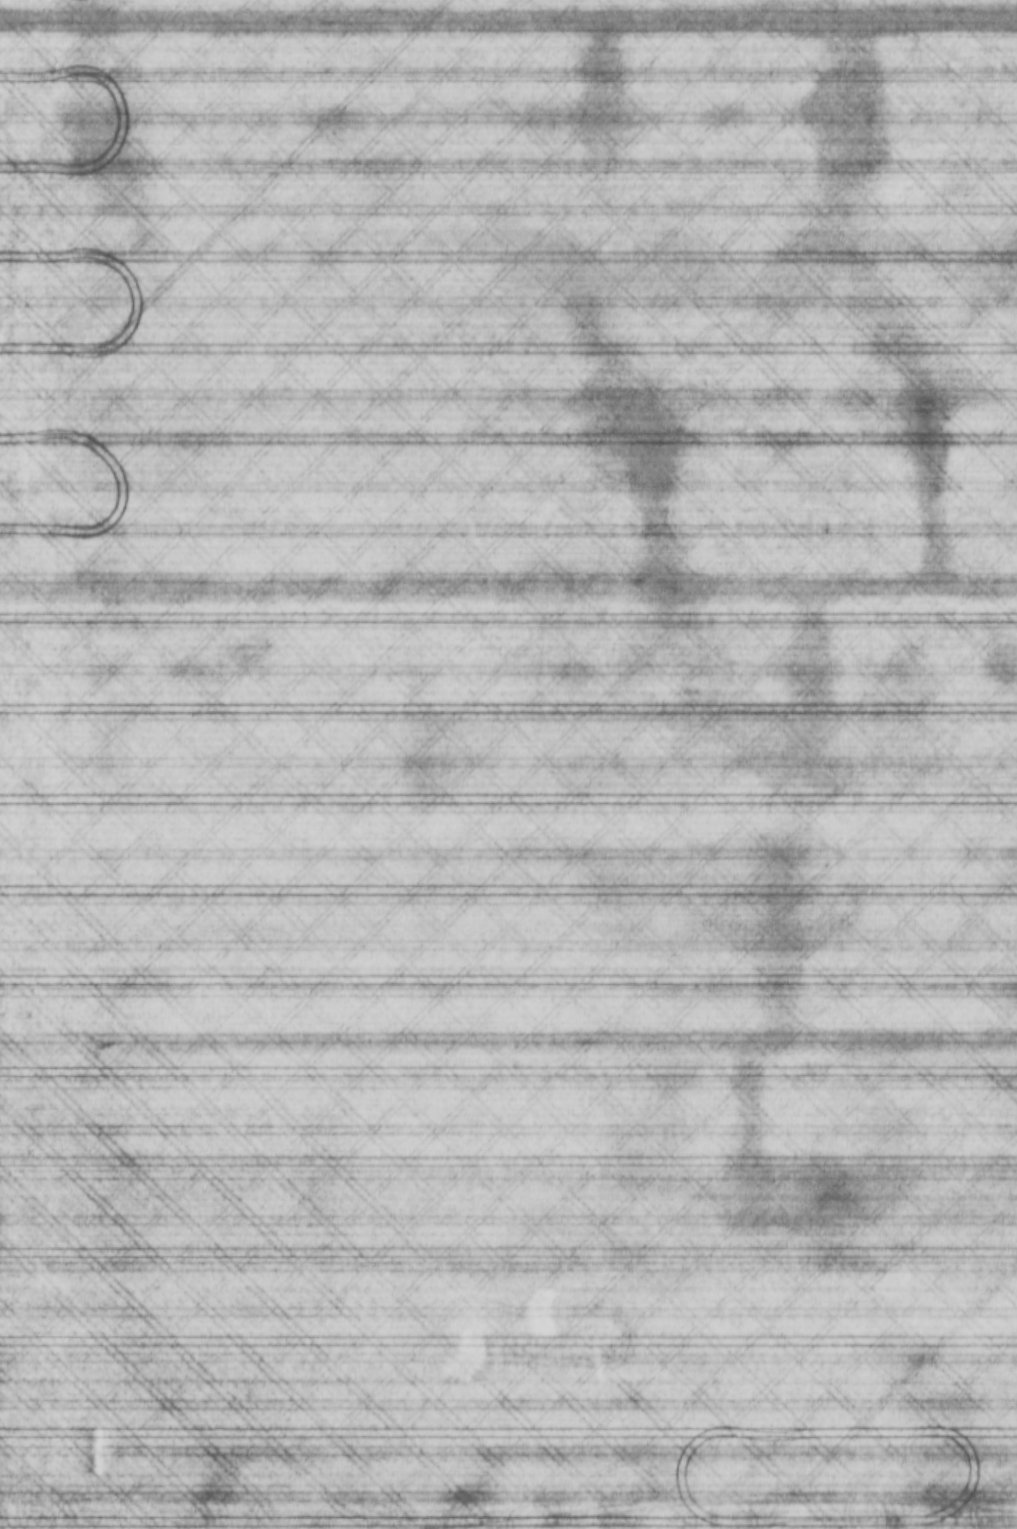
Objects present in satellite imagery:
crop: (508, 764)

